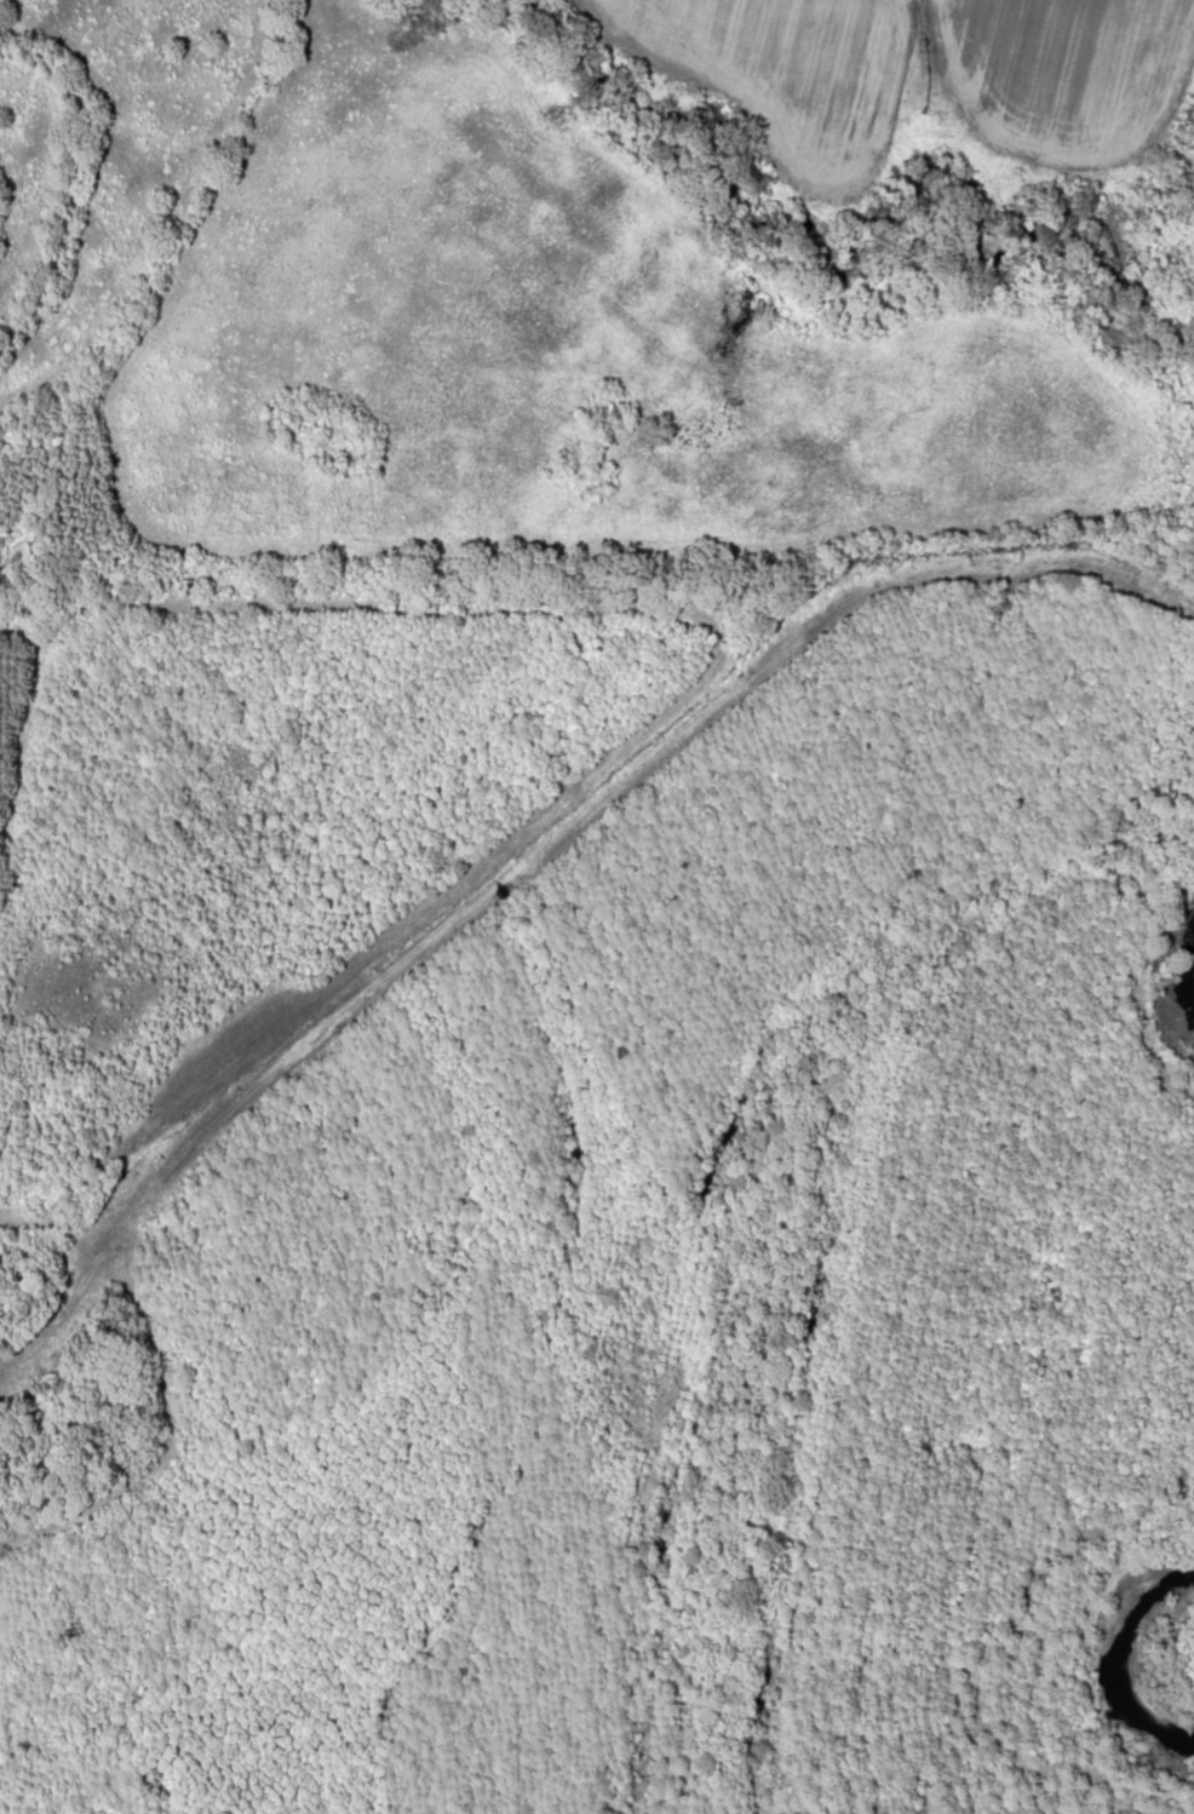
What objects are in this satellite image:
river: (1127, 1646)

